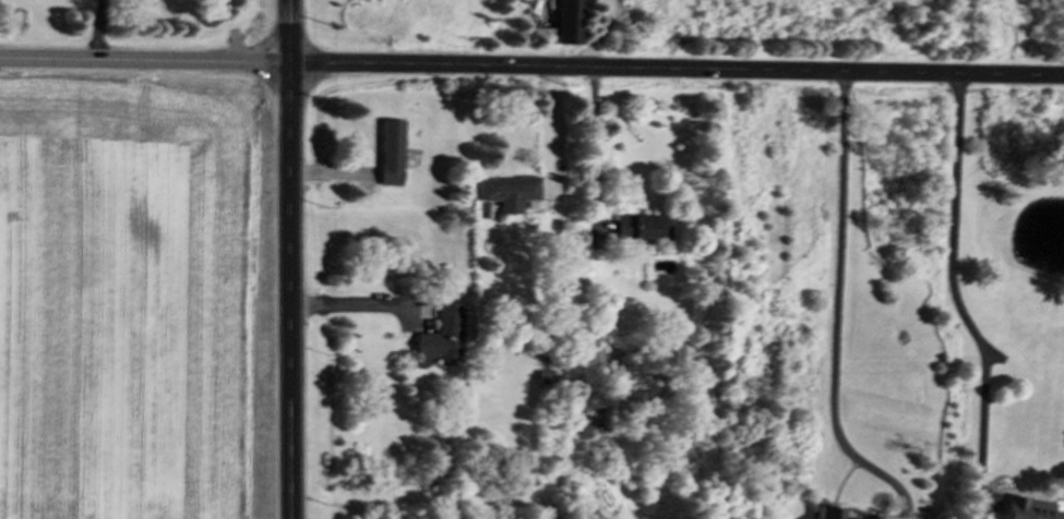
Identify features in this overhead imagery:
building: (561, 24)
road: (99, 29)
road: (599, 35)
road: (531, 68)
road: (549, 126)
road: (597, 143)
building: (385, 156)
building: (505, 195)
building: (635, 231)
road: (288, 258)
road: (955, 299)
crop: (129, 304)
road: (348, 305)
road: (836, 311)
building: (439, 341)
building: (676, 361)
building: (1027, 511)
building: (838, 518)

